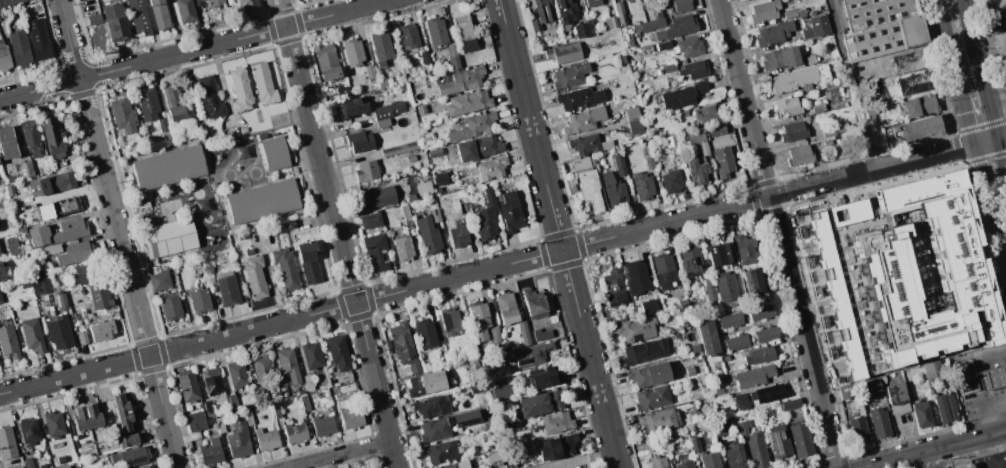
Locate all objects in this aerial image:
building: (625, 0)
building: (9, 2)
building: (592, 2)
building: (212, 3)
building: (247, 4)
building: (681, 5)
building: (994, 6)
building: (185, 10)
building: (668, 10)
building: (566, 11)
building: (763, 11)
building: (541, 13)
building: (789, 13)
building: (158, 14)
building: (620, 14)
building: (138, 17)
building: (94, 19)
road: (988, 21)
building: (115, 22)
building: (608, 22)
building: (648, 25)
road: (176, 27)
building: (676, 27)
building: (815, 27)
building: (881, 27)
building: (580, 30)
building: (435, 31)
building: (464, 33)
building: (773, 33)
building: (407, 36)
road: (947, 38)
building: (38, 39)
building: (1000, 44)
building: (658, 46)
building: (380, 47)
building: (687, 47)
building: (19, 49)
building: (451, 49)
road: (195, 50)
building: (352, 52)
building: (563, 53)
building: (424, 57)
building: (4, 58)
building: (780, 58)
building: (620, 59)
building: (810, 59)
building: (907, 61)
building: (325, 62)
building: (453, 62)
building: (1003, 66)
building: (668, 68)
building: (694, 69)
building: (369, 71)
building: (429, 73)
building: (569, 74)
building: (797, 78)
building: (1004, 79)
building: (383, 81)
building: (461, 81)
road: (985, 81)
building: (913, 83)
building: (263, 84)
road: (852, 85)
building: (240, 90)
building: (682, 96)
building: (209, 97)
building: (579, 98)
road: (744, 98)
building: (172, 102)
building: (467, 102)
building: (147, 104)
building: (919, 106)
building: (351, 107)
building: (786, 107)
building: (818, 108)
building: (388, 109)
building: (420, 109)
road: (966, 110)
building: (870, 112)
building: (680, 113)
building: (631, 114)
building: (706, 114)
building: (122, 115)
building: (583, 120)
building: (382, 123)
building: (162, 124)
building: (473, 126)
building: (634, 127)
building: (833, 128)
building: (920, 128)
building: (243, 130)
building: (716, 130)
building: (792, 131)
building: (30, 137)
building: (52, 137)
building: (697, 140)
building: (359, 141)
building: (670, 141)
building: (6, 143)
building: (588, 144)
building: (477, 147)
building: (401, 148)
building: (274, 153)
building: (434, 153)
building: (798, 155)
building: (410, 158)
building: (722, 161)
building: (580, 163)
building: (648, 163)
building: (619, 164)
building: (168, 167)
building: (490, 168)
building: (25, 169)
building: (366, 171)
building: (697, 173)
building: (440, 178)
building: (670, 181)
building: (50, 184)
building: (641, 186)
building: (571, 188)
building: (589, 189)
building: (612, 190)
building: (377, 197)
building: (262, 201)
road: (990, 204)
building: (412, 206)
building: (44, 212)
building: (509, 212)
building: (847, 212)
building: (435, 215)
building: (405, 217)
building: (487, 217)
building: (370, 220)
building: (57, 232)
road: (559, 233)
road: (119, 234)
road: (338, 234)
building: (457, 234)
building: (428, 236)
building: (169, 237)
building: (401, 248)
building: (50, 249)
building: (744, 249)
building: (13, 251)
building: (248, 252)
building: (375, 252)
building: (75, 253)
building: (717, 254)
building: (0, 258)
building: (690, 260)
building: (308, 262)
building: (194, 265)
road: (503, 265)
building: (285, 268)
building: (883, 268)
building: (207, 269)
building: (663, 270)
building: (1, 273)
building: (86, 273)
building: (254, 276)
building: (635, 277)
building: (753, 280)
building: (159, 281)
rooftop solar panel: (752, 281)
rooftop solar panel: (37, 282)
building: (41, 284)
building: (613, 285)
building: (725, 286)
building: (226, 288)
building: (709, 289)
building: (834, 295)
building: (99, 296)
building: (62, 300)
building: (199, 300)
building: (0, 301)
building: (533, 303)
rooftop solar panel: (617, 304)
building: (648, 305)
building: (170, 306)
building: (505, 309)
building: (760, 312)
building: (79, 315)
building: (553, 319)
building: (730, 319)
building: (478, 321)
building: (450, 322)
building: (102, 330)
building: (636, 330)
building: (58, 332)
road: (803, 332)
building: (424, 333)
building: (523, 333)
building: (32, 334)
building: (494, 334)
building: (541, 334)
building: (765, 334)
building: (82, 337)
building: (706, 337)
rooftop solar panel: (635, 338)
building: (8, 342)
building: (401, 342)
building: (736, 342)
building: (694, 348)
building: (644, 351)
building: (337, 352)
building: (530, 354)
building: (311, 355)
building: (759, 355)
rooftop solar panel: (525, 363)
building: (288, 365)
building: (413, 368)
building: (261, 369)
building: (493, 372)
building: (690, 372)
building: (649, 374)
building: (236, 375)
building: (753, 376)
building: (965, 376)
building: (544, 377)
building: (992, 377)
building: (343, 378)
building: (703, 378)
building: (210, 380)
rooftop solar panel: (550, 381)
building: (307, 382)
road: (996, 382)
building: (425, 383)
building: (187, 385)
building: (280, 386)
building: (343, 387)
building: (476, 387)
building: (870, 387)
building: (718, 391)
building: (846, 391)
building: (502, 393)
building: (768, 393)
building: (651, 397)
building: (896, 398)
building: (232, 401)
building: (540, 402)
building: (741, 402)
building: (304, 403)
building: (789, 404)
building: (431, 406)
building: (945, 407)
building: (207, 408)
road: (934, 409)
building: (276, 410)
building: (121, 412)
building: (920, 414)
building: (86, 417)
building: (248, 417)
building: (350, 418)
building: (195, 421)
building: (209, 421)
building: (657, 421)
building: (489, 422)
building: (555, 422)
building: (879, 422)
building: (53, 424)
building: (219, 425)
building: (322, 425)
building: (445, 425)
building: (743, 426)
building: (28, 430)
building: (857, 431)
building: (294, 433)
rooftop solar panel: (781, 434)
building: (799, 438)
building: (126, 439)
building: (238, 440)
building: (266, 440)
building: (777, 441)
building: (6, 443)
rooftop solar panel: (774, 443)
building: (560, 444)
building: (489, 447)
road: (932, 449)
building: (756, 450)
building: (210, 452)
building: (439, 452)
road: (984, 452)
road: (340, 455)
building: (704, 455)
building: (129, 456)
building: (734, 456)
building: (60, 459)
road: (579, 459)
building: (494, 460)
building: (656, 462)
building: (685, 464)
building: (456, 465)
building: (963, 466)
road: (1001, 466)
building: (18, 467)
building: (65, 467)
building: (143, 467)
building: (150, 467)

